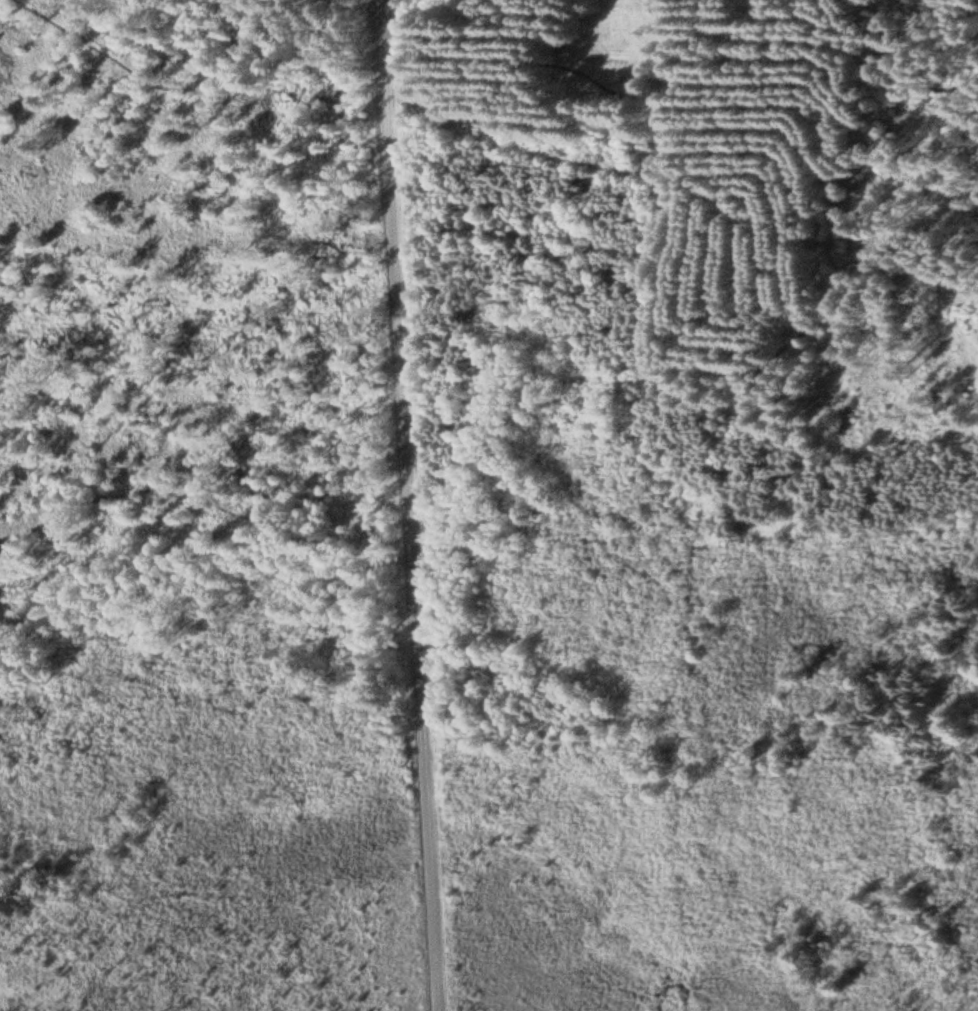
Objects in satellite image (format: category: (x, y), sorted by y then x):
road: (480, 63)
road: (481, 304)
road: (409, 505)

